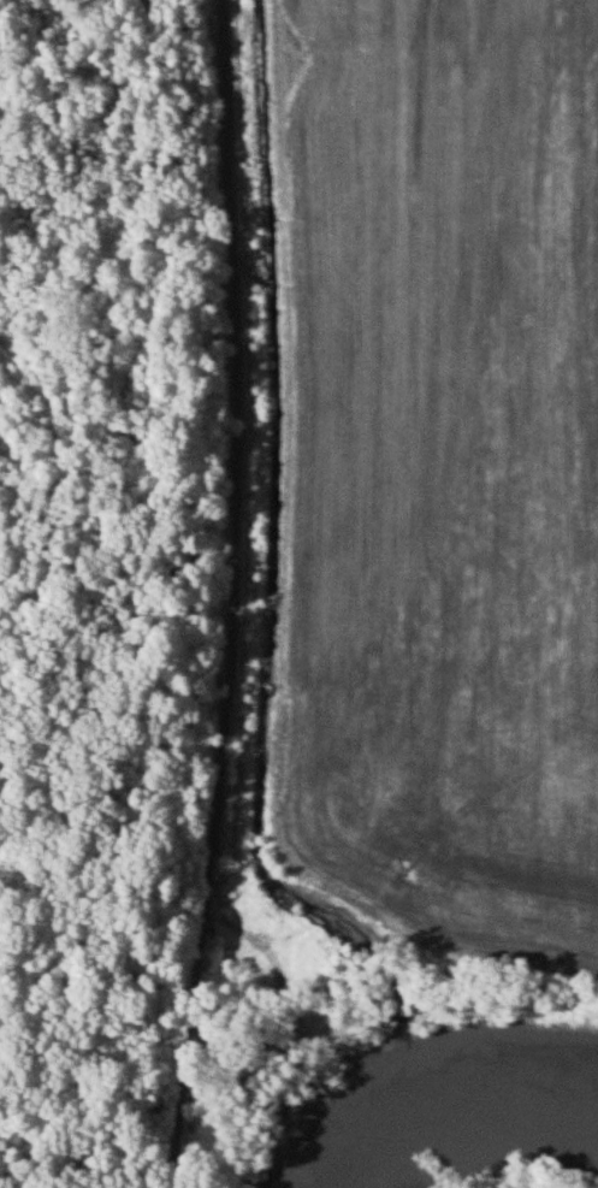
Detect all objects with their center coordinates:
road: (238, 595)
river: (454, 1106)
road: (95, 1160)

